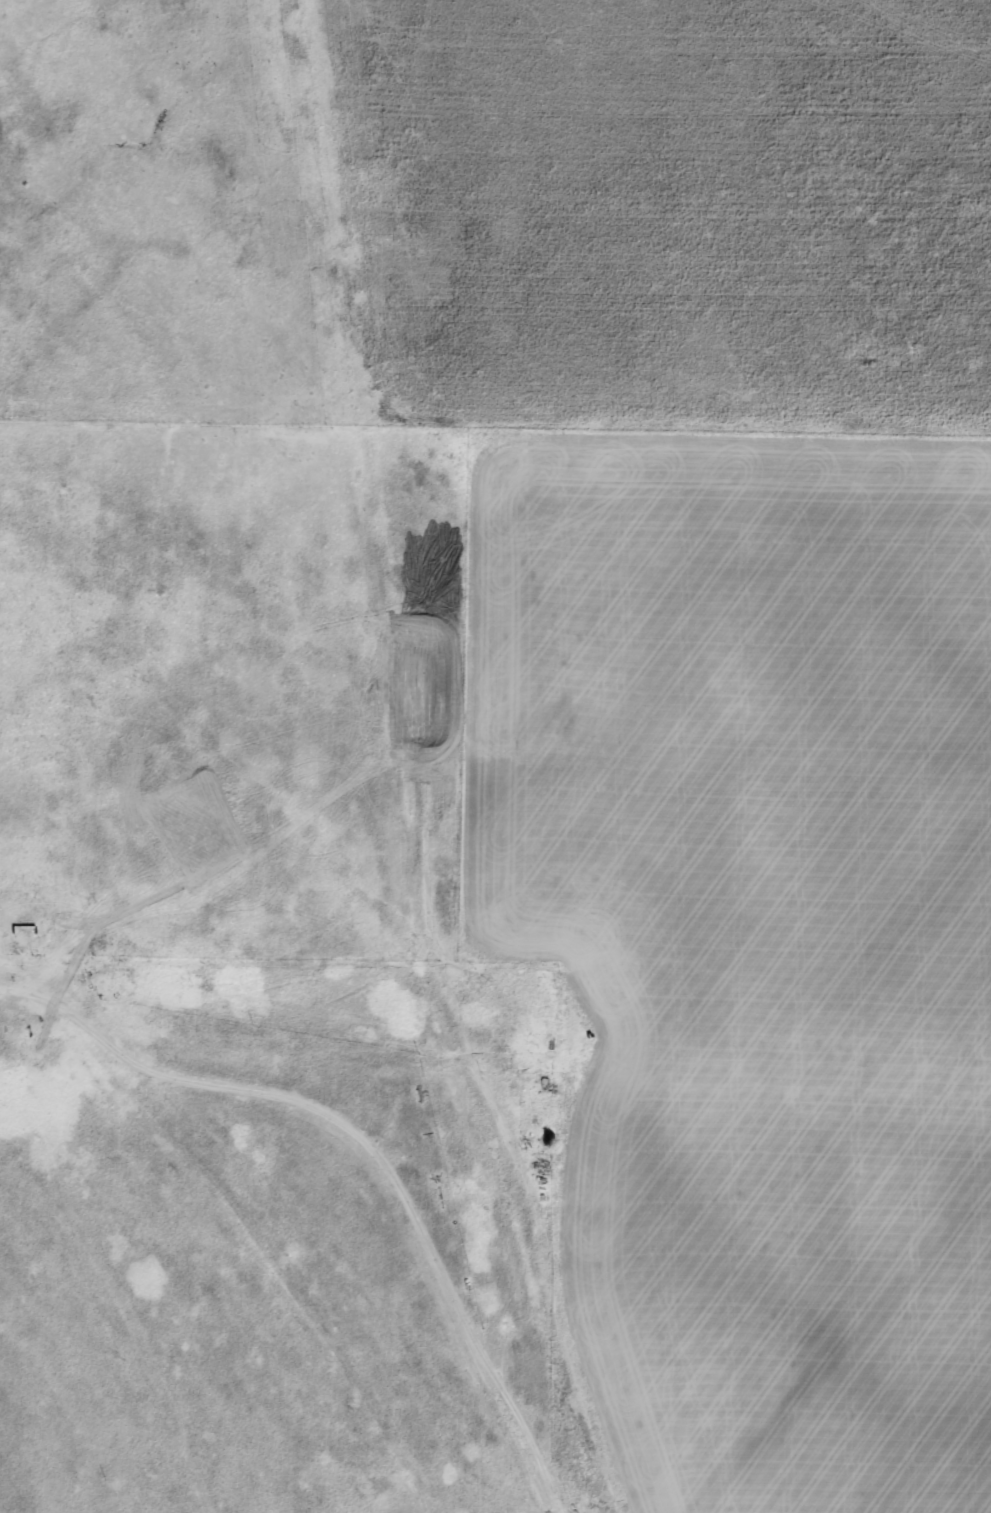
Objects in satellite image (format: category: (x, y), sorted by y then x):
building: (22, 931)
road: (360, 1151)

